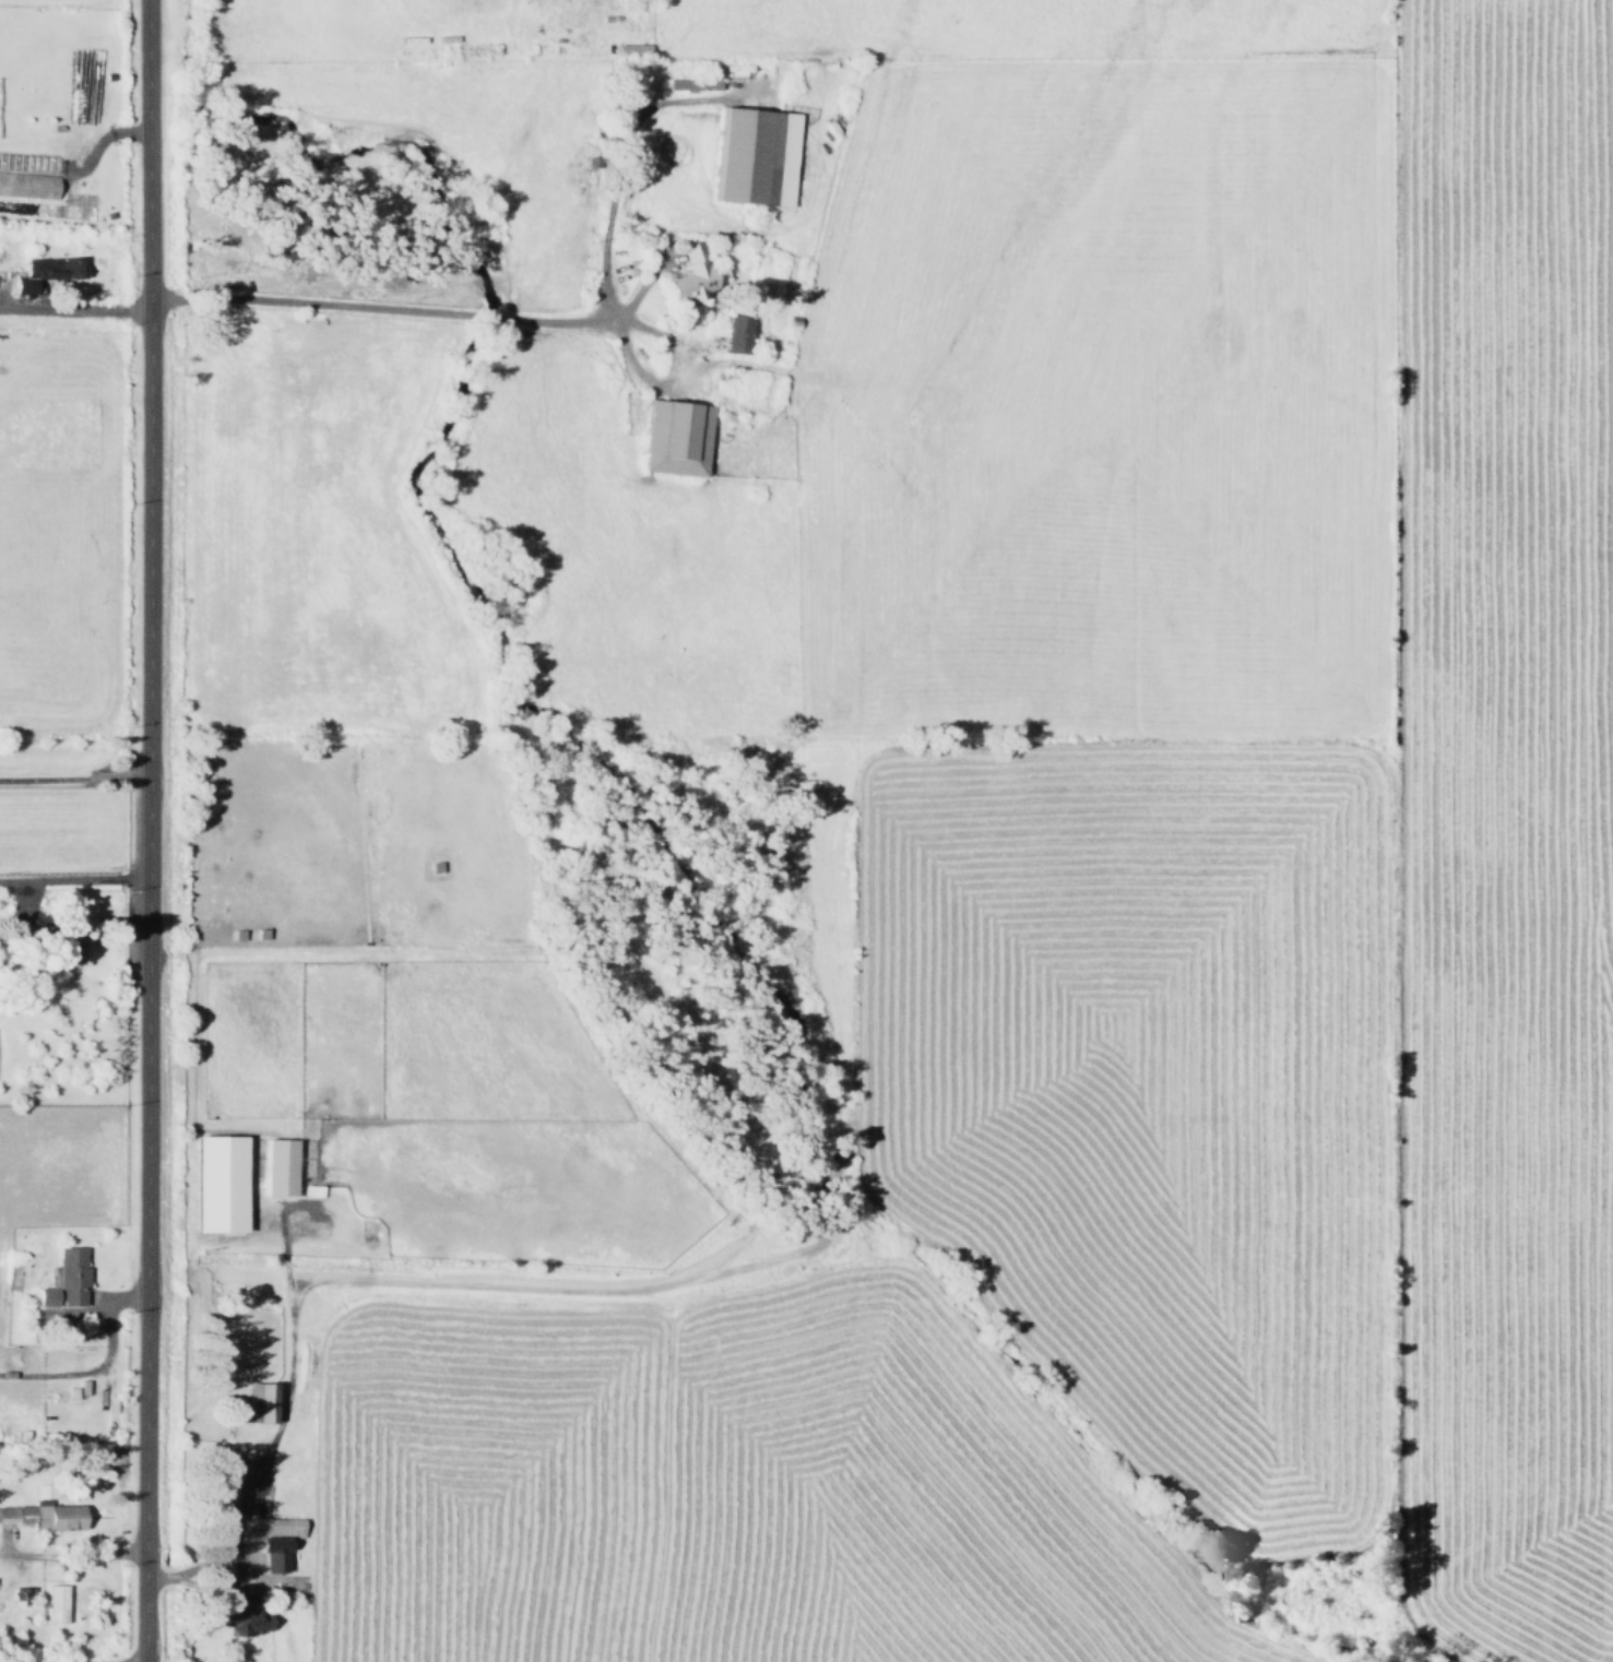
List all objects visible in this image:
road: (616, 156)
building: (760, 157)
building: (28, 185)
building: (695, 272)
building: (44, 273)
road: (74, 309)
road: (417, 313)
building: (739, 335)
road: (675, 382)
building: (679, 438)
road: (73, 777)
road: (147, 830)
road: (73, 879)
road: (24, 903)
crop: (1135, 912)
building: (69, 945)
building: (278, 1166)
building: (218, 1184)
building: (66, 1279)
road: (100, 1363)
road: (288, 1382)
building: (264, 1401)
building: (46, 1515)
building: (274, 1540)
road: (63, 1556)
road: (237, 1560)
building: (55, 1603)
building: (241, 1617)

